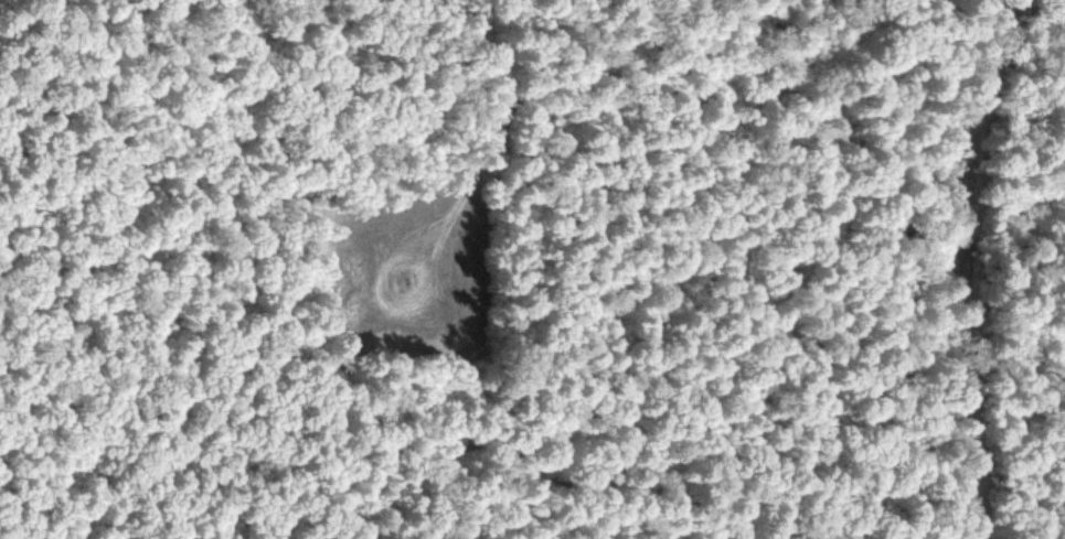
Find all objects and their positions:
road: (551, 115)
road: (508, 148)
road: (978, 268)
petroleum well: (405, 282)
road: (404, 305)

